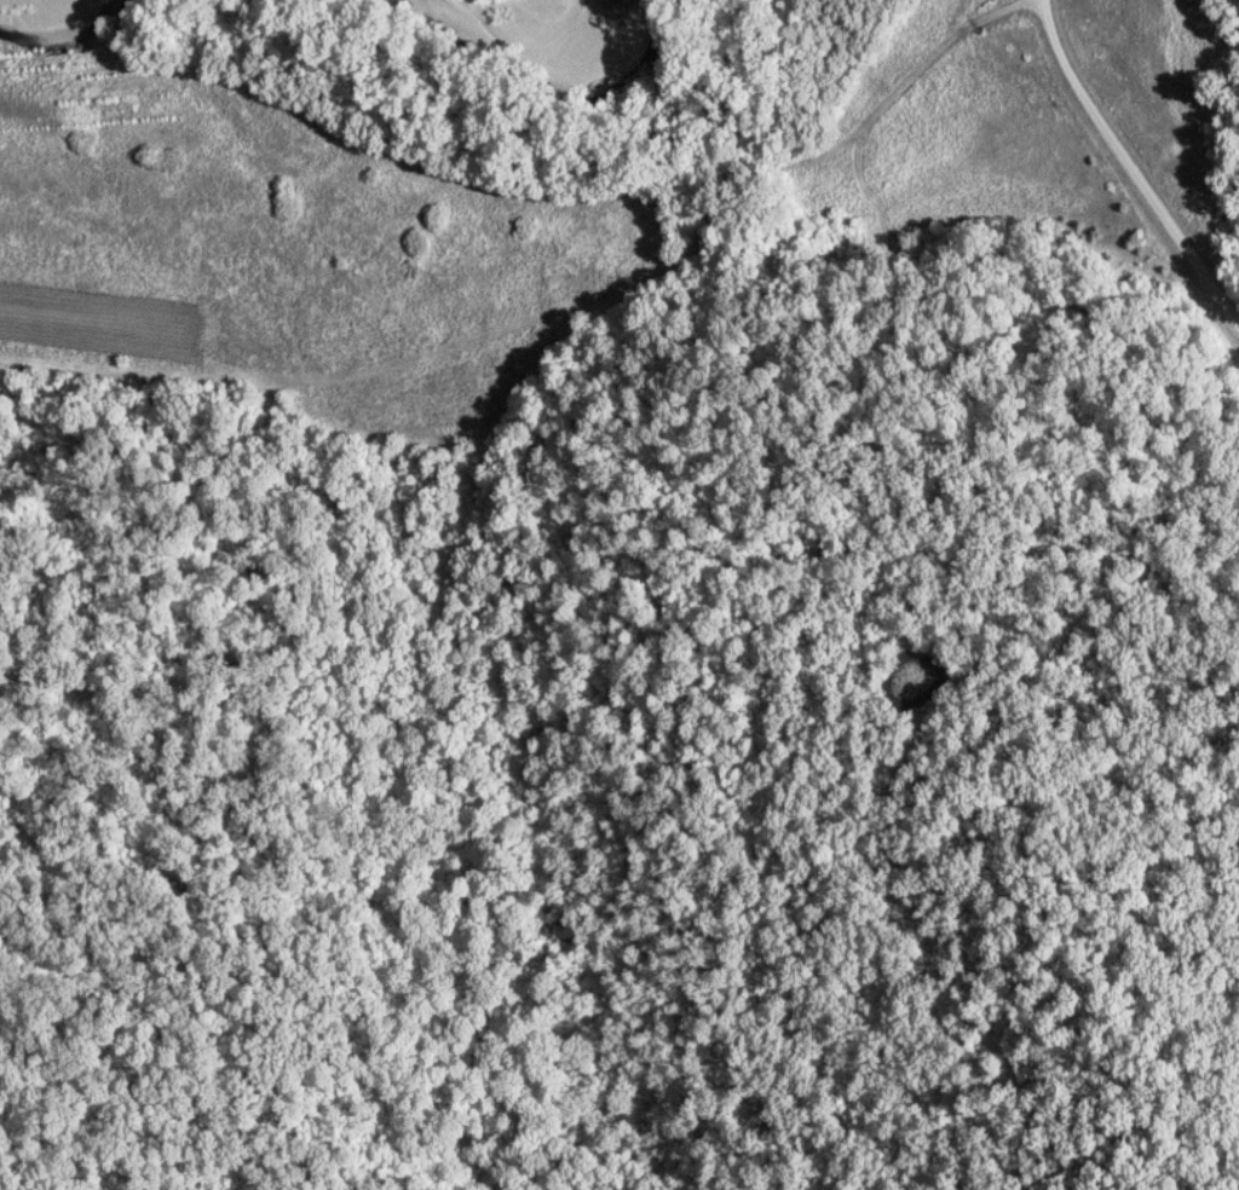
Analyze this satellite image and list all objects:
road: (1133, 163)
road: (575, 302)
road: (286, 714)

